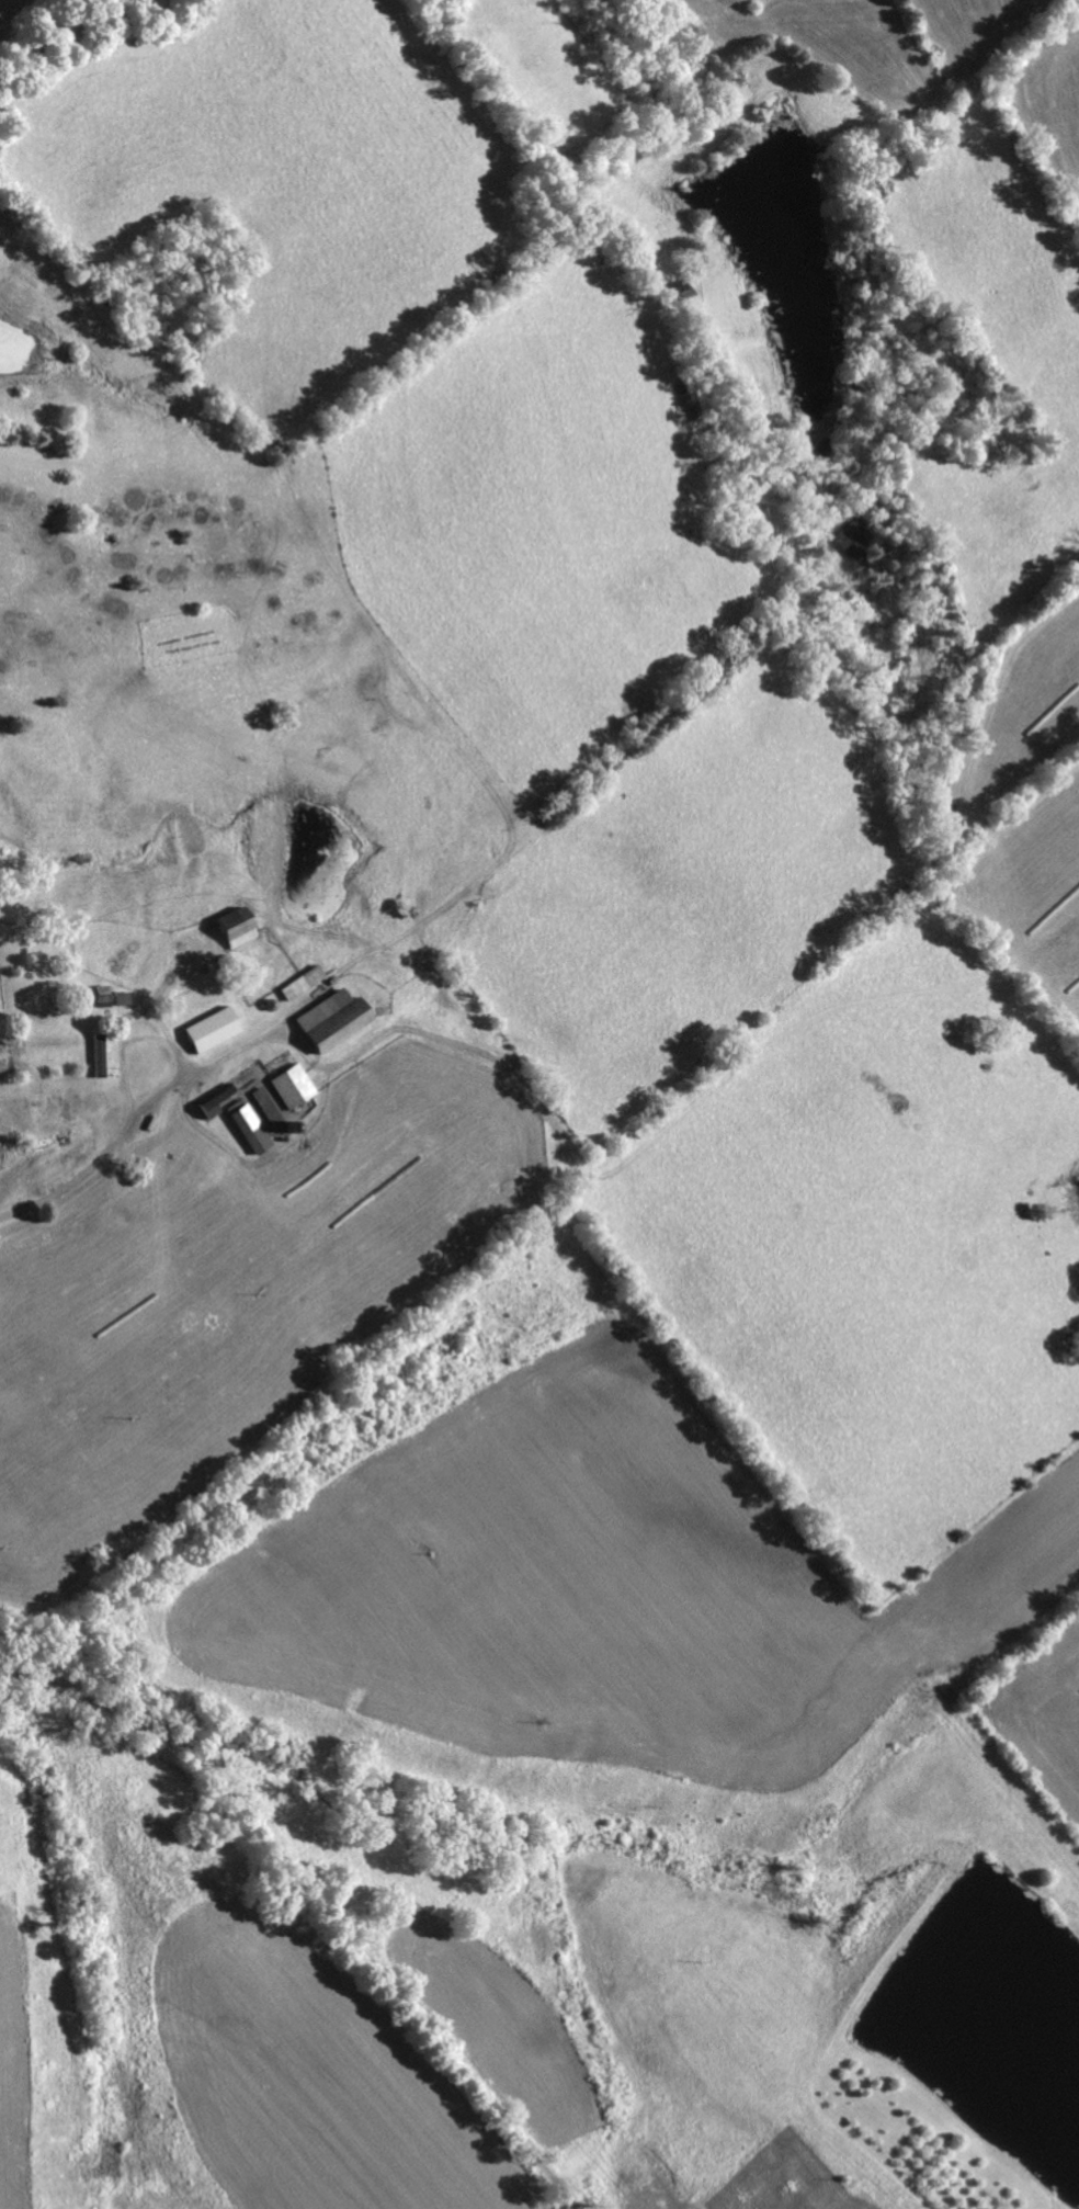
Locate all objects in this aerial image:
building: (236, 925)
building: (332, 1017)
building: (212, 1027)
building: (293, 1083)
building: (269, 1106)
building: (251, 1125)
road: (126, 1130)
road: (315, 1902)

